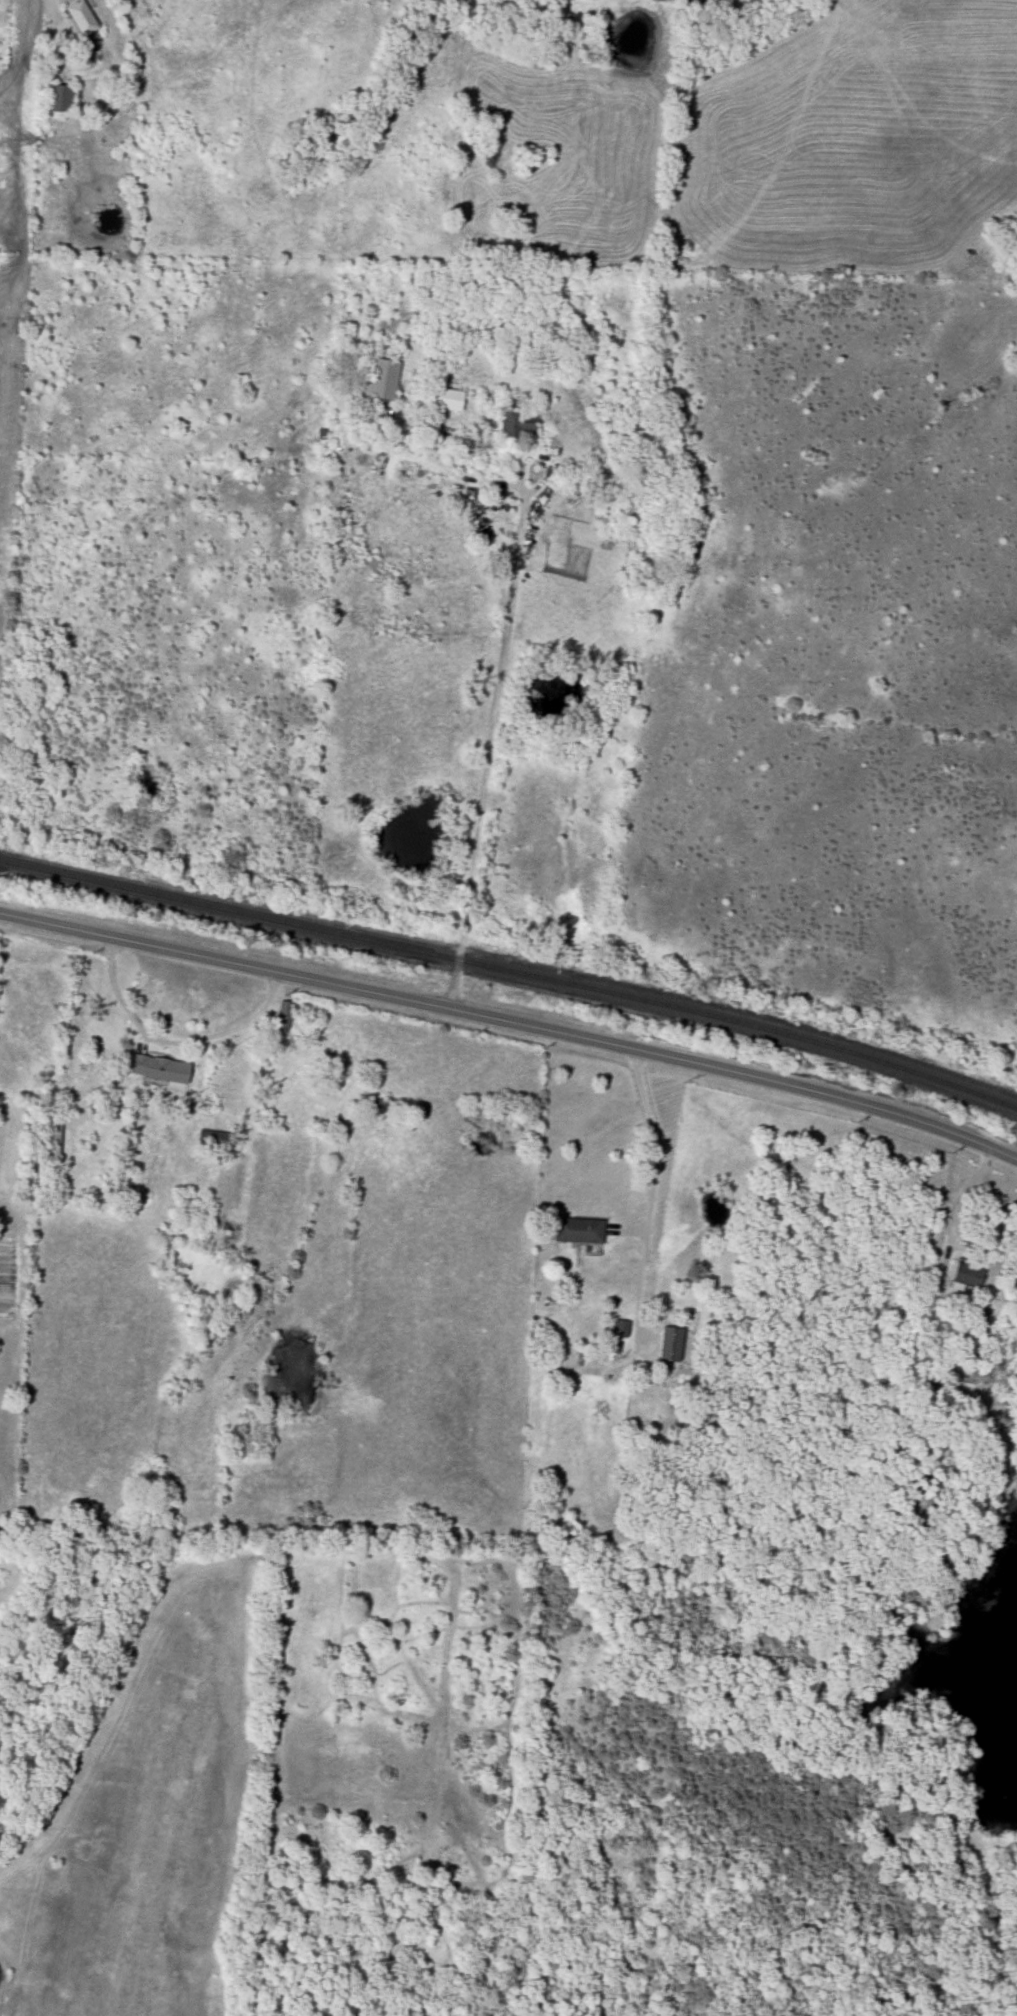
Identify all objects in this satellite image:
building: (83, 18)
road: (51, 25)
building: (61, 99)
building: (383, 381)
building: (450, 400)
building: (517, 420)
road: (483, 752)
railway: (513, 970)
building: (285, 1014)
road: (511, 1027)
road: (169, 1041)
building: (161, 1069)
building: (69, 1084)
building: (213, 1139)
road: (651, 1142)
building: (51, 1144)
road: (953, 1206)
building: (579, 1230)
building: (967, 1277)
building: (621, 1328)
building: (672, 1344)
building: (931, 1381)
building: (713, 1409)

